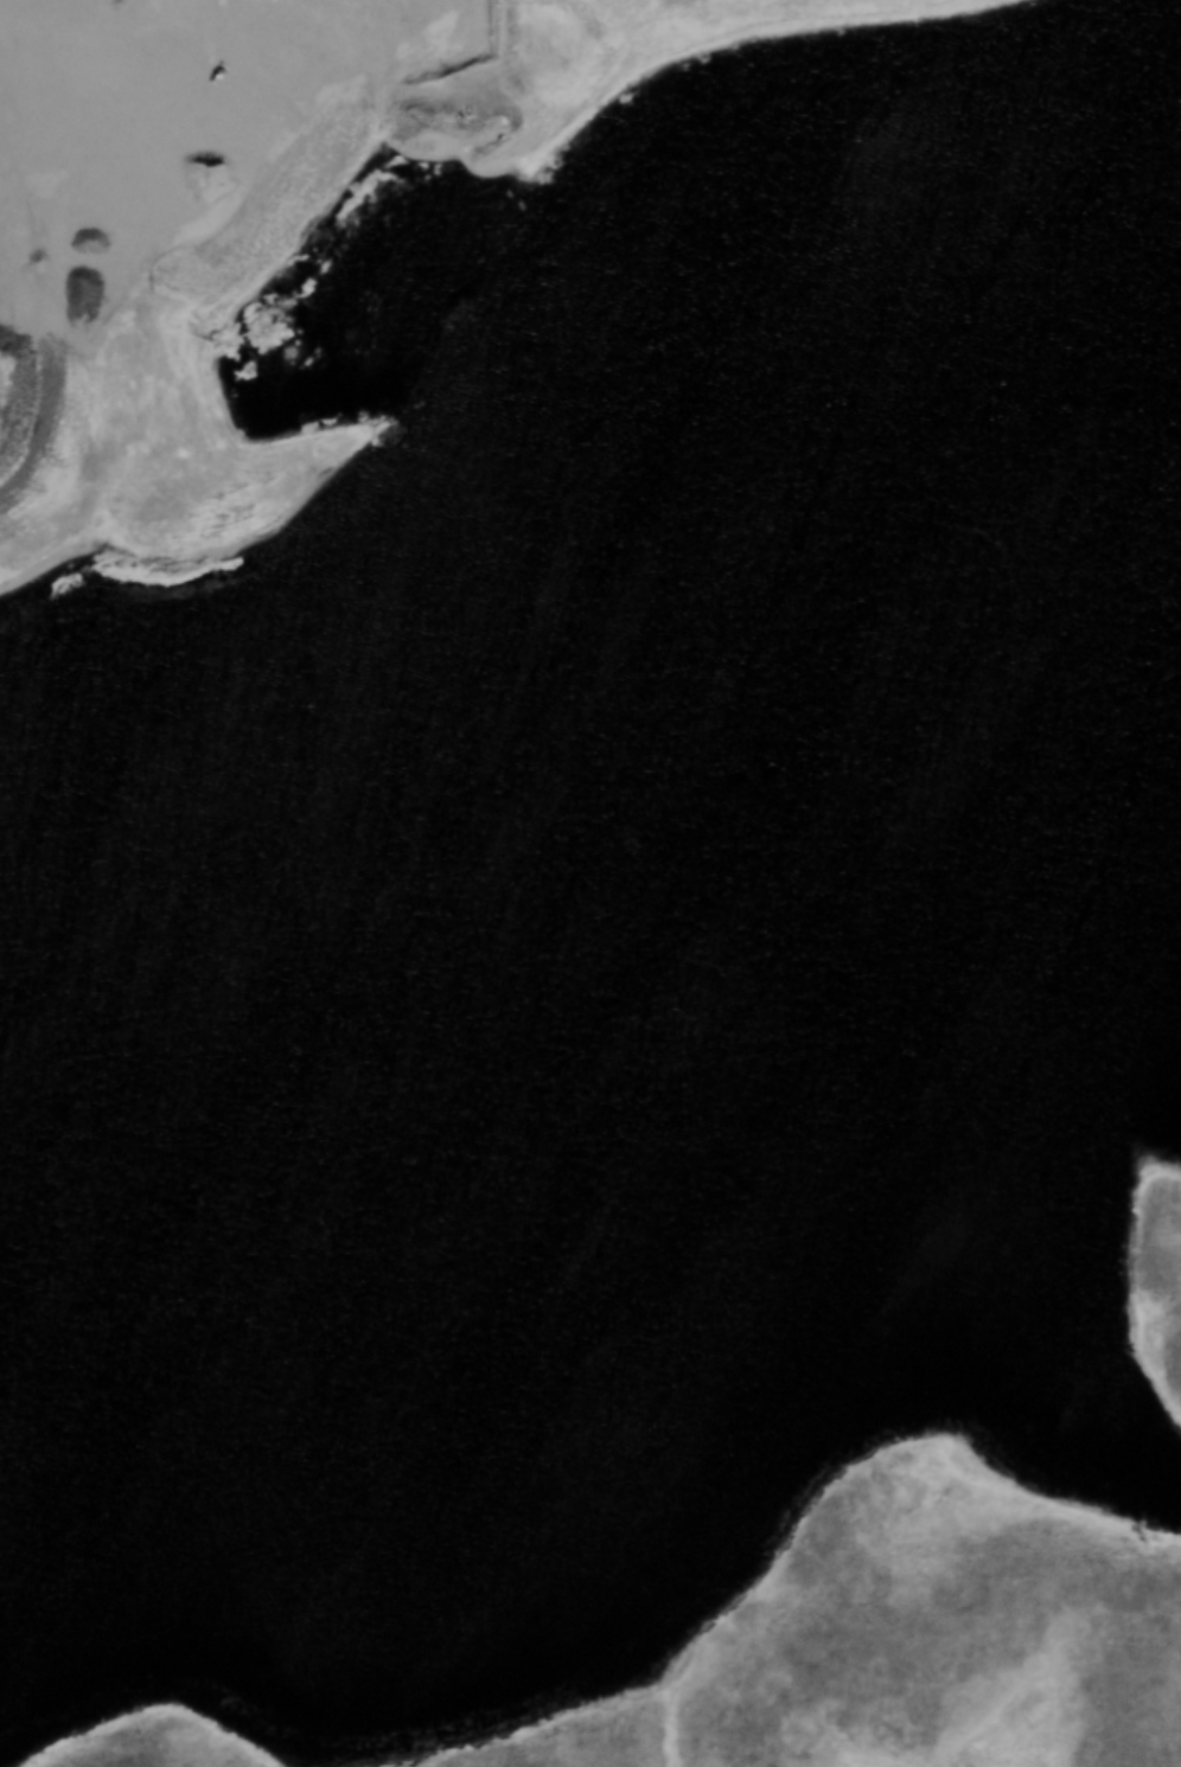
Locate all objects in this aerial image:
quarry: (194, 115)

